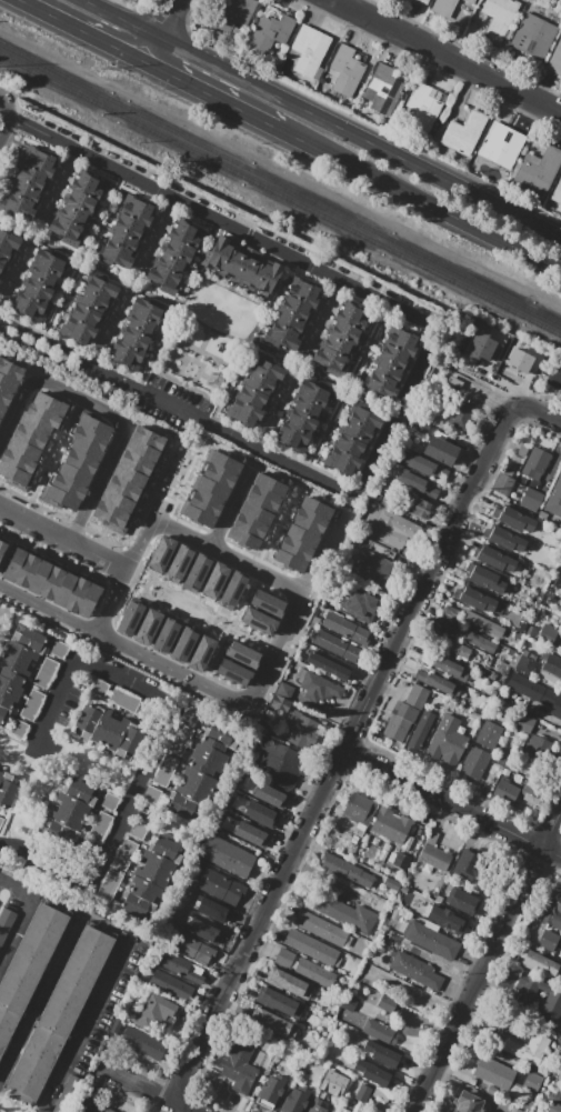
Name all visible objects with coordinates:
building: (423, 1)
building: (471, 1)
building: (444, 7)
building: (233, 14)
road: (112, 18)
building: (499, 18)
road: (163, 19)
road: (73, 29)
building: (271, 31)
building: (533, 36)
road: (139, 48)
building: (309, 50)
road: (448, 54)
building: (555, 59)
building: (345, 71)
building: (384, 90)
road: (203, 96)
building: (422, 109)
road: (7, 118)
building: (464, 133)
road: (354, 138)
building: (500, 147)
building: (538, 171)
building: (28, 183)
railway: (280, 184)
road: (57, 186)
building: (557, 192)
railway: (280, 196)
road: (419, 202)
building: (77, 206)
building: (126, 231)
road: (153, 237)
building: (7, 247)
building: (176, 256)
building: (242, 269)
road: (12, 272)
building: (38, 284)
building: (88, 310)
building: (292, 313)
road: (323, 313)
road: (107, 330)
building: (137, 332)
building: (340, 338)
building: (483, 348)
road: (431, 358)
building: (390, 362)
building: (522, 362)
building: (11, 369)
road: (415, 374)
building: (554, 377)
building: (216, 381)
road: (479, 381)
building: (8, 383)
road: (503, 383)
road: (524, 384)
building: (254, 392)
building: (4, 398)
building: (49, 403)
building: (2, 410)
road: (106, 411)
road: (535, 411)
road: (273, 412)
building: (303, 414)
building: (42, 415)
building: (460, 415)
building: (0, 420)
building: (94, 425)
building: (34, 427)
building: (419, 427)
building: (88, 437)
building: (29, 438)
building: (148, 438)
building: (352, 440)
building: (522, 449)
building: (23, 450)
building: (440, 450)
building: (86, 451)
building: (141, 451)
building: (17, 461)
building: (80, 462)
building: (136, 463)
building: (224, 463)
building: (534, 463)
building: (424, 465)
road: (551, 467)
building: (13, 474)
building: (73, 474)
building: (129, 475)
building: (218, 477)
building: (415, 483)
building: (502, 484)
building: (68, 485)
building: (269, 485)
building: (123, 489)
building: (211, 489)
building: (61, 498)
building: (262, 499)
building: (117, 500)
building: (531, 500)
building: (554, 500)
building: (206, 502)
building: (417, 507)
building: (314, 509)
road: (229, 511)
building: (256, 511)
building: (109, 513)
building: (199, 514)
building: (514, 518)
building: (308, 521)
building: (250, 524)
building: (393, 529)
building: (302, 534)
building: (243, 537)
road: (63, 539)
building: (504, 539)
building: (297, 547)
building: (2, 548)
building: (161, 553)
road: (227, 554)
building: (494, 558)
building: (289, 560)
building: (179, 562)
building: (14, 564)
road: (128, 569)
building: (375, 569)
building: (27, 570)
building: (197, 571)
building: (39, 577)
building: (484, 579)
building: (214, 580)
building: (51, 583)
building: (63, 589)
building: (232, 589)
building: (77, 594)
building: (475, 598)
building: (88, 600)
building: (266, 602)
building: (360, 604)
road: (291, 611)
building: (450, 612)
building: (129, 618)
building: (257, 621)
building: (445, 621)
building: (482, 624)
building: (147, 627)
building: (345, 629)
building: (547, 634)
building: (166, 635)
building: (474, 640)
road: (124, 644)
building: (182, 644)
building: (335, 647)
building: (452, 648)
building: (59, 650)
building: (201, 653)
building: (242, 654)
building: (524, 662)
building: (16, 664)
building: (447, 665)
building: (328, 667)
building: (232, 672)
building: (551, 672)
building: (46, 673)
building: (438, 683)
building: (315, 687)
building: (100, 689)
building: (284, 691)
building: (535, 692)
building: (417, 697)
building: (124, 701)
building: (281, 703)
building: (32, 704)
road: (545, 715)
building: (399, 721)
building: (524, 723)
building: (19, 729)
building: (302, 730)
building: (109, 731)
building: (421, 731)
building: (489, 734)
building: (447, 742)
building: (539, 749)
road: (153, 751)
building: (172, 754)
road: (340, 754)
building: (280, 761)
building: (474, 762)
building: (200, 773)
building: (533, 783)
building: (7, 789)
building: (505, 792)
building: (270, 795)
road: (452, 801)
building: (110, 802)
building: (72, 803)
building: (359, 809)
building: (261, 814)
building: (1, 822)
building: (383, 822)
building: (100, 828)
building: (399, 829)
building: (139, 831)
building: (251, 834)
building: (408, 843)
building: (433, 853)
building: (126, 854)
building: (227, 855)
building: (401, 861)
building: (467, 864)
building: (347, 871)
building: (150, 875)
building: (110, 884)
building: (392, 884)
building: (219, 886)
road: (17, 889)
building: (463, 902)
building: (552, 910)
building: (344, 911)
building: (445, 918)
building: (6, 924)
building: (210, 926)
building: (321, 929)
road: (17, 931)
building: (431, 941)
building: (548, 941)
building: (188, 946)
building: (560, 946)
building: (312, 948)
road: (485, 959)
road: (437, 962)
building: (542, 966)
building: (28, 968)
building: (181, 968)
building: (304, 969)
building: (415, 970)
building: (288, 984)
building: (171, 985)
building: (530, 986)
road: (39, 999)
building: (279, 1003)
building: (349, 1003)
building: (551, 1008)
building: (157, 1012)
building: (59, 1014)
building: (272, 1024)
road: (82, 1026)
building: (380, 1032)
building: (142, 1043)
building: (528, 1049)
building: (383, 1053)
building: (240, 1066)
building: (374, 1073)
building: (493, 1073)
building: (515, 1081)
building: (532, 1081)
building: (333, 1083)
road: (152, 1090)
building: (271, 1091)
building: (362, 1093)
building: (68, 1094)
building: (381, 1095)
building: (295, 1099)
building: (467, 1103)
building: (555, 1103)
building: (84, 1105)
building: (318, 1105)
building: (108, 1110)
building: (370, 1111)

